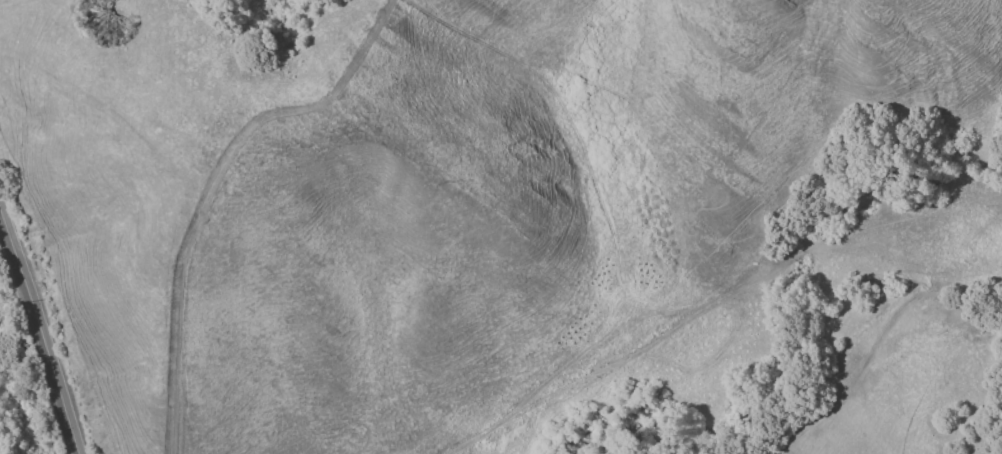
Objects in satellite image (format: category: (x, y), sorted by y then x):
road: (35, 348)

